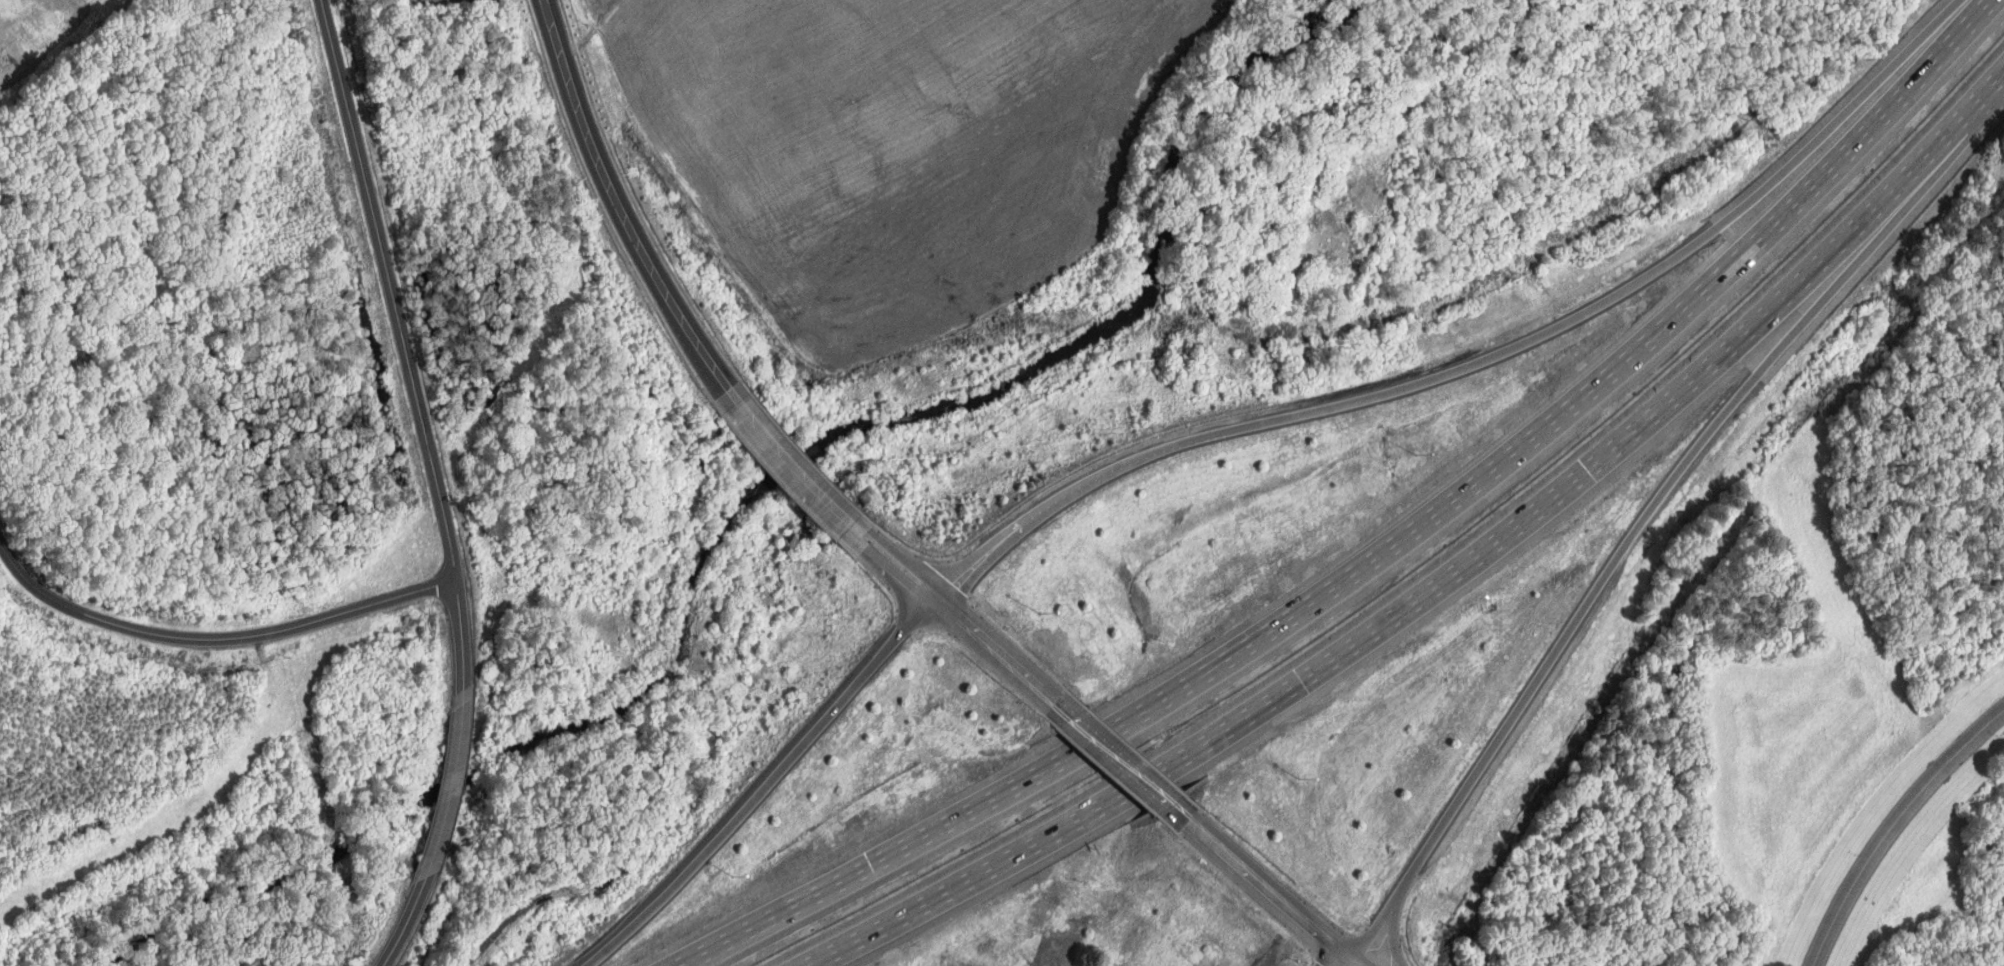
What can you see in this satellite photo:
power tower: (3, 59)
road: (1831, 124)
road: (613, 205)
road: (1785, 339)
road: (401, 342)
road: (776, 466)
road: (1066, 488)
road: (1385, 552)
road: (1442, 566)
road: (949, 625)
road: (214, 639)
road: (1111, 762)
road: (446, 784)
road: (1463, 790)
road: (1893, 828)
road: (1256, 884)
road: (401, 922)
road: (1351, 964)

